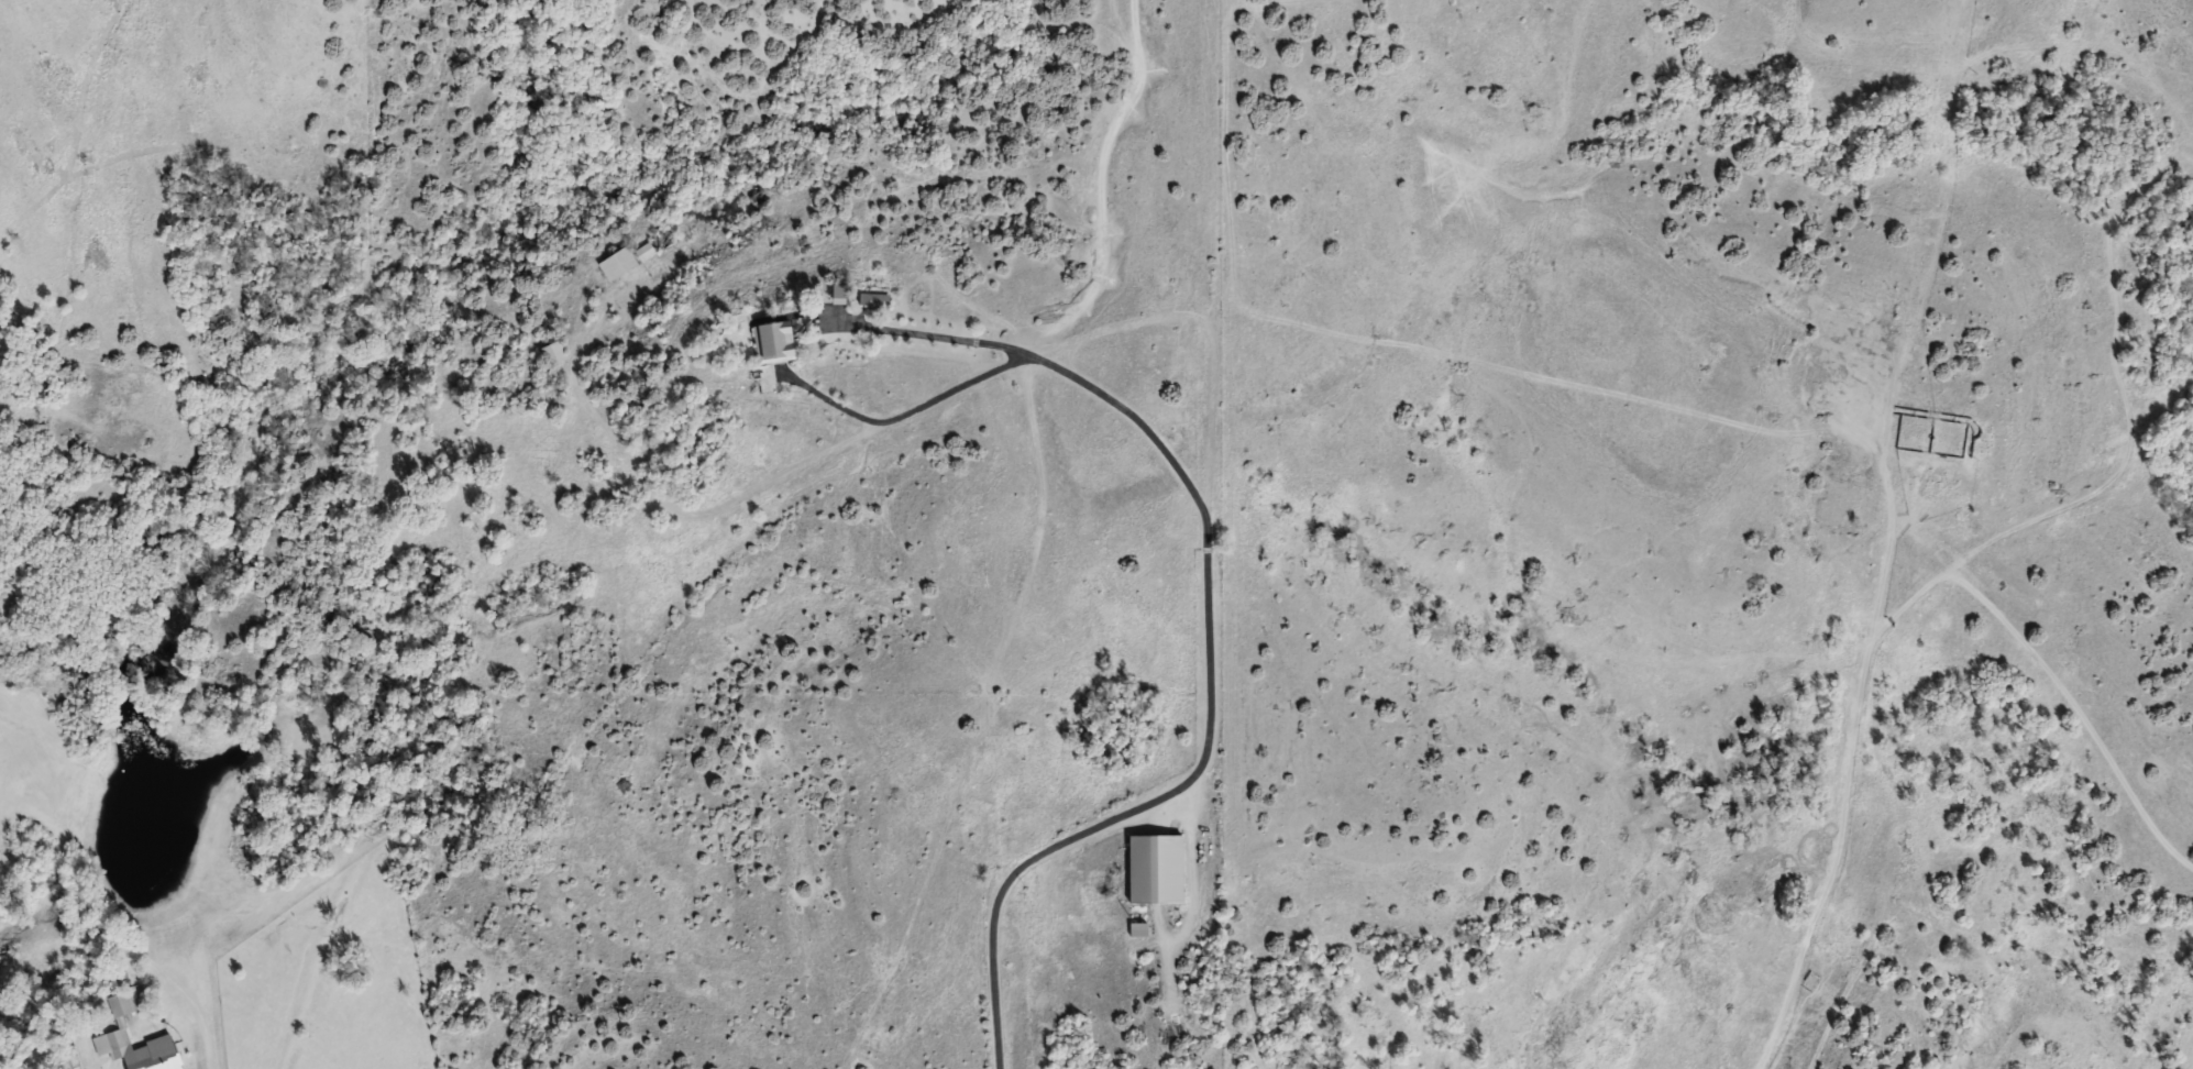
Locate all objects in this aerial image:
building: (625, 264)
building: (878, 300)
building: (780, 345)
building: (555, 356)
road: (903, 415)
road: (1202, 637)
building: (1151, 870)
road: (1689, 905)
building: (120, 1026)
road: (211, 1067)

